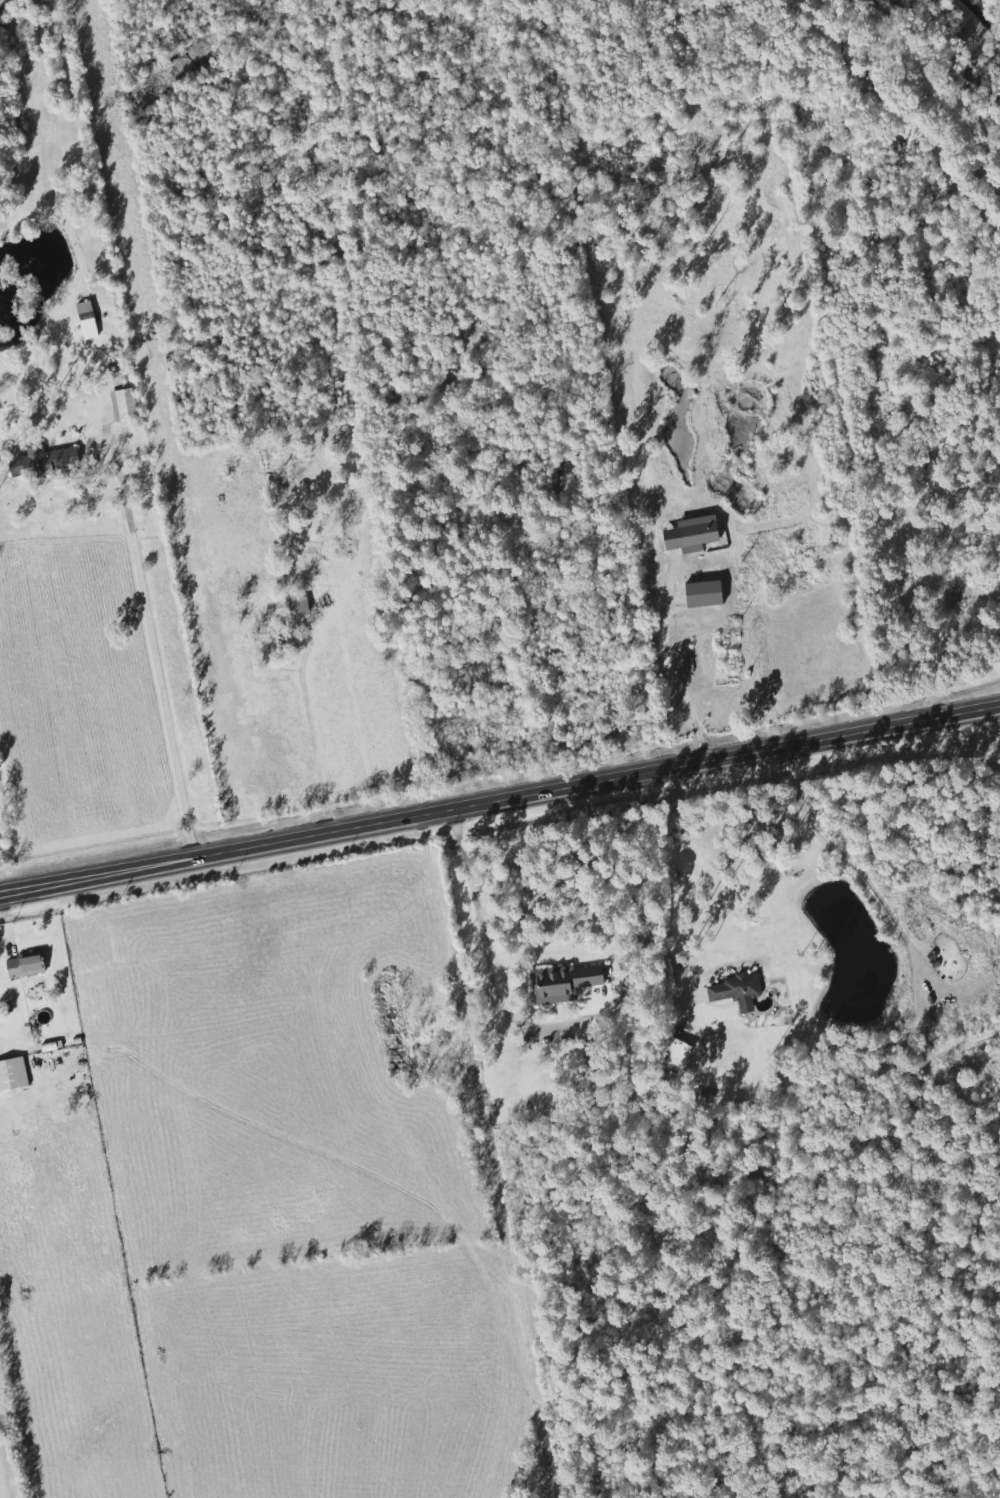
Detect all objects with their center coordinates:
building: (86, 320)
building: (122, 405)
building: (42, 462)
building: (690, 535)
building: (702, 594)
road: (162, 647)
road: (665, 663)
road: (321, 727)
road: (500, 803)
road: (671, 887)
road: (480, 933)
building: (24, 966)
building: (569, 988)
building: (735, 991)
building: (12, 1074)

